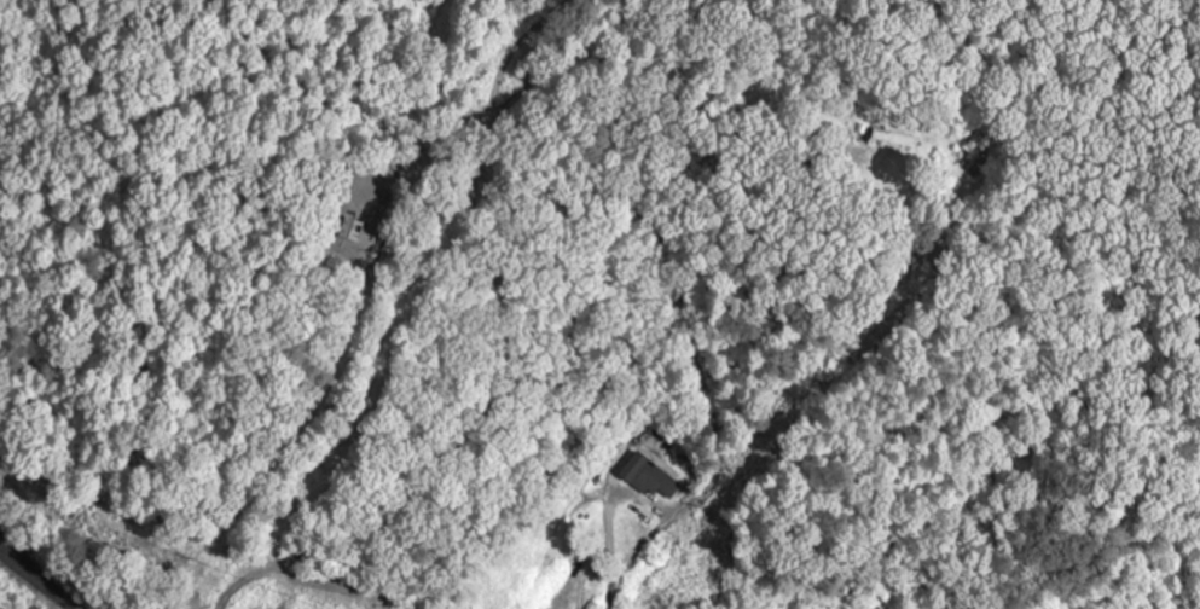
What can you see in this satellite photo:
building: (895, 139)
building: (352, 231)
building: (650, 480)
railway: (40, 580)

